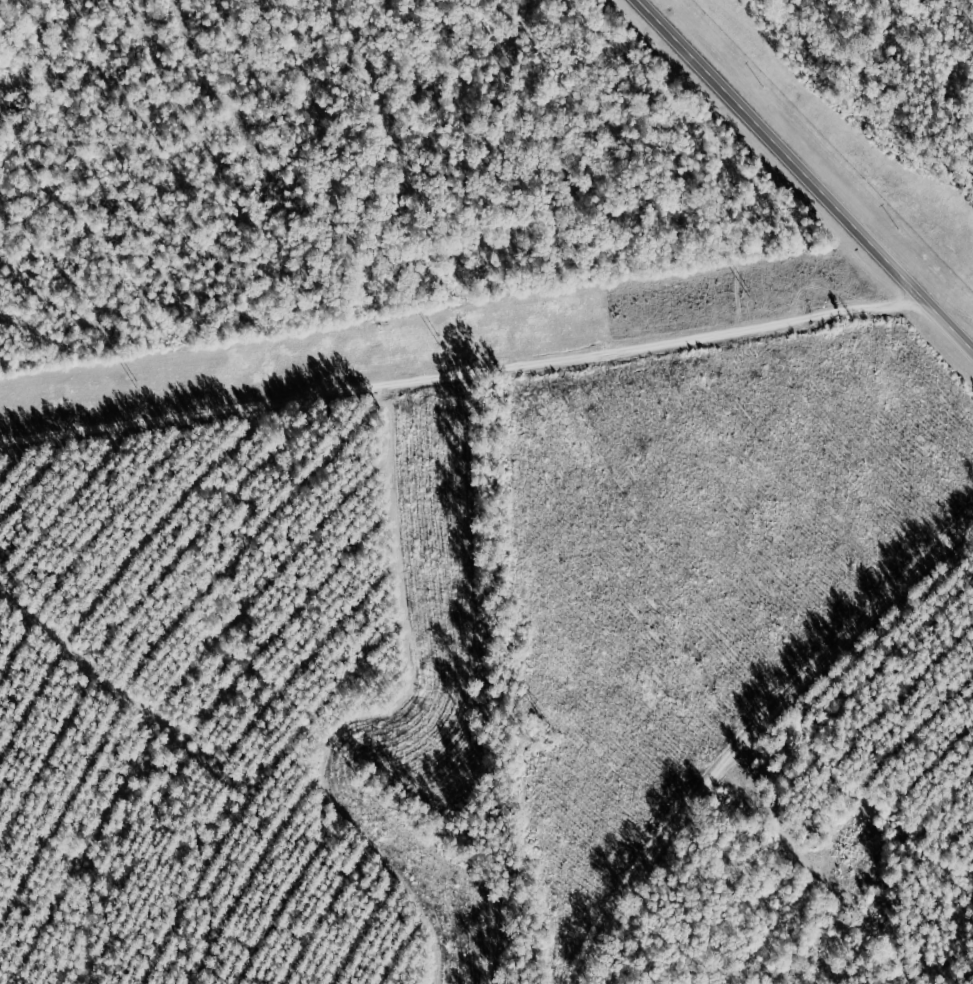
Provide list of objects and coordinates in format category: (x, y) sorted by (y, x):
road: (806, 175)
power tower: (746, 293)
power tower: (437, 341)
road: (462, 366)
power tower: (137, 386)

